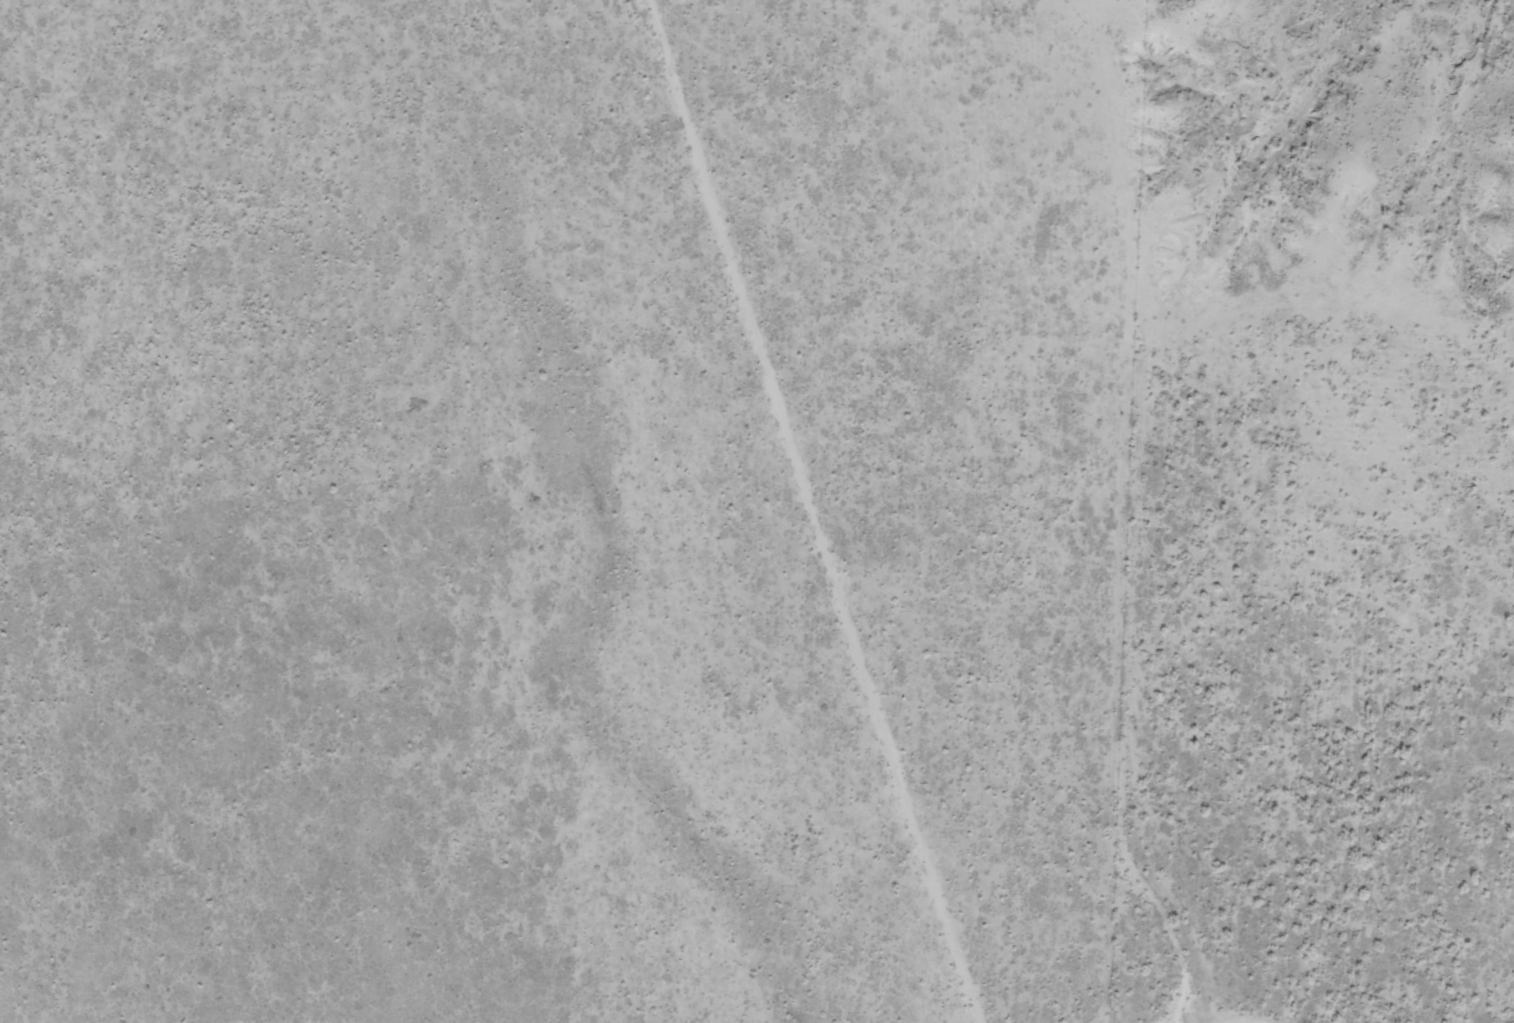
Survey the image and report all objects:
road: (1362, 372)

